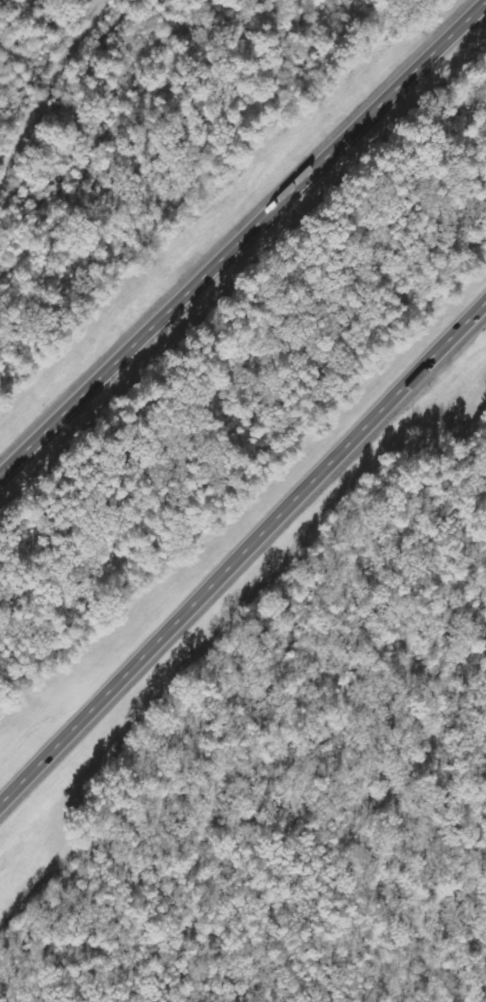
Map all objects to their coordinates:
road: (243, 237)
road: (242, 554)

